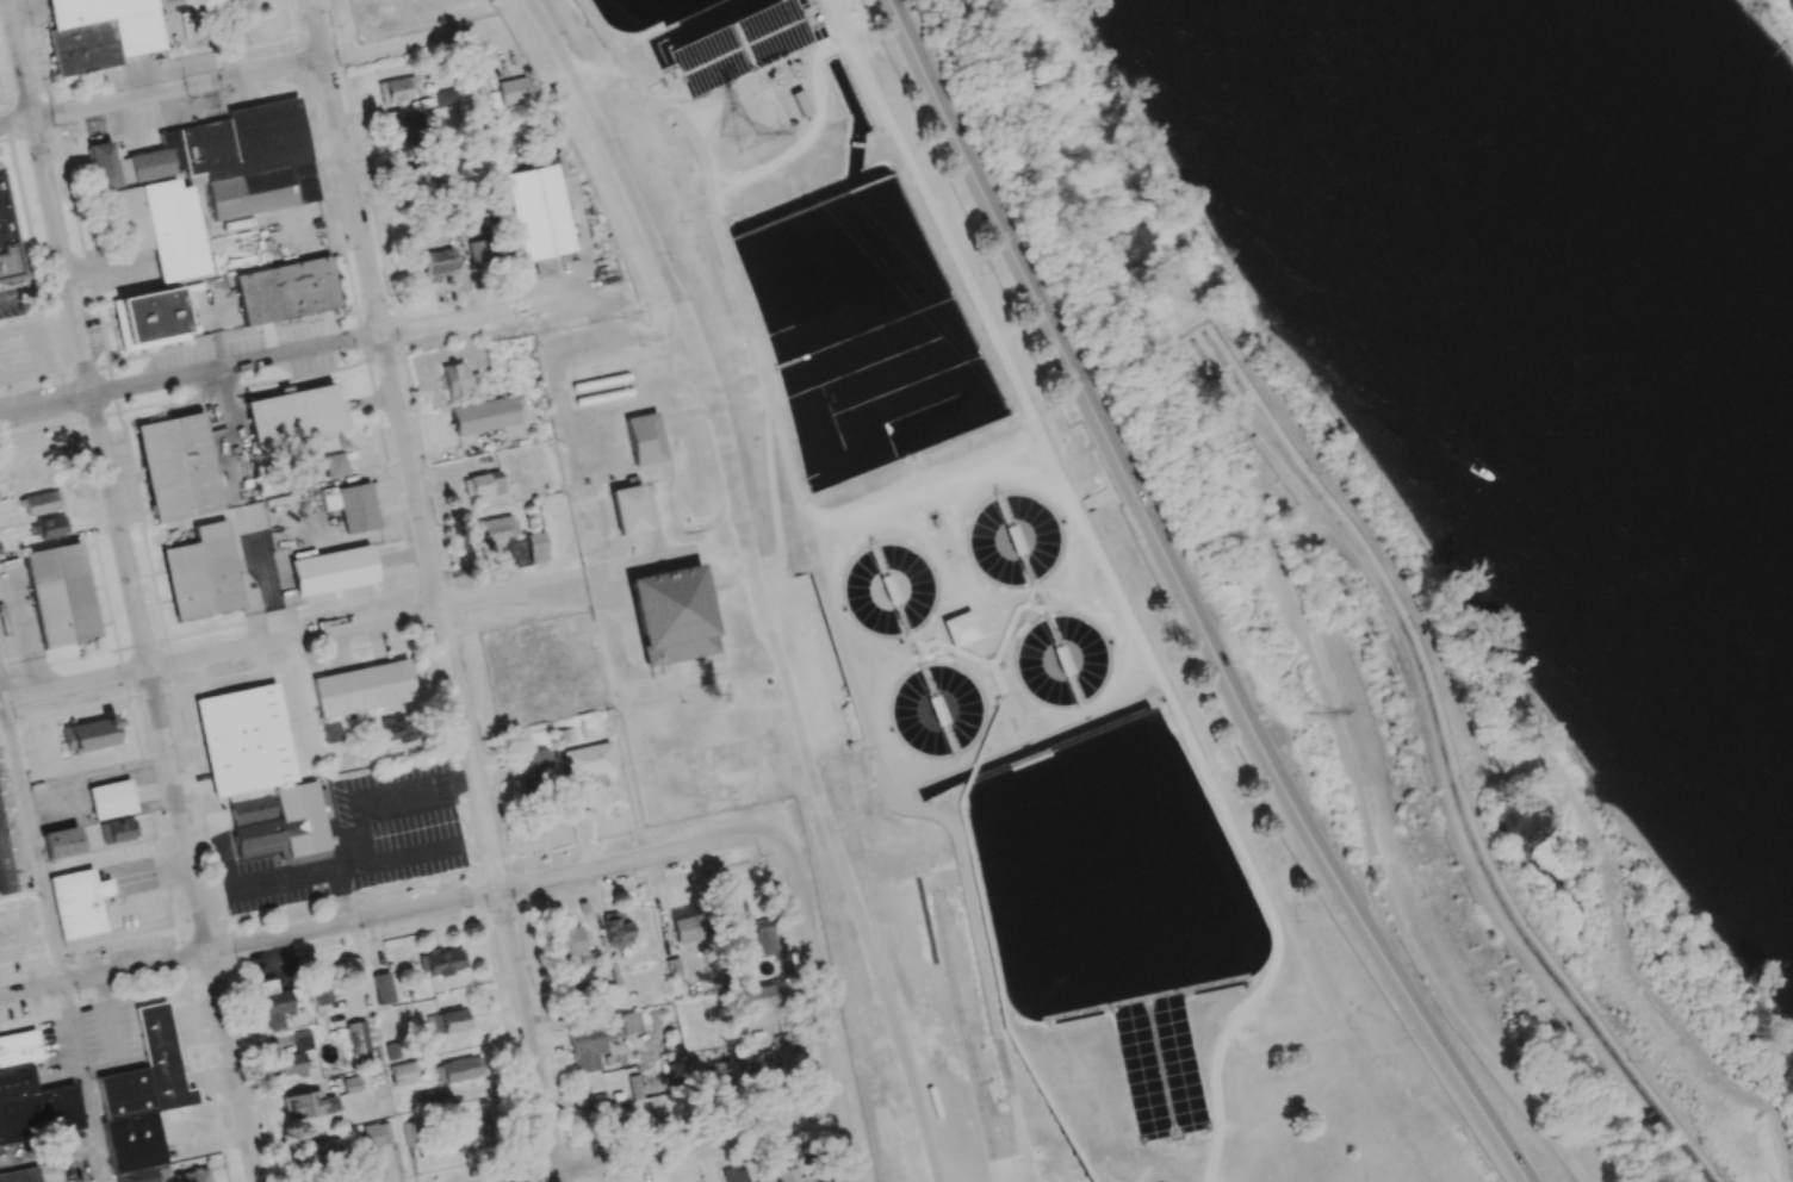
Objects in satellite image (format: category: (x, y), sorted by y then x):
building: (240, 5)
building: (92, 10)
road: (234, 75)
building: (395, 89)
building: (513, 91)
building: (445, 97)
building: (405, 126)
building: (267, 135)
power tower: (733, 135)
road: (731, 174)
building: (415, 179)
building: (539, 212)
building: (161, 228)
building: (7, 239)
building: (478, 254)
building: (435, 261)
building: (285, 291)
river: (1594, 316)
building: (153, 317)
road: (319, 347)
building: (455, 379)
railway: (1249, 403)
building: (291, 416)
building: (483, 416)
building: (644, 438)
building: (334, 465)
building: (180, 466)
building: (485, 484)
building: (42, 503)
building: (359, 504)
building: (628, 510)
building: (51, 527)
building: (495, 529)
building: (535, 547)
building: (0, 554)
building: (333, 568)
building: (201, 573)
road: (434, 590)
road: (132, 591)
road: (1286, 592)
building: (58, 593)
road: (1189, 602)
building: (671, 615)
road: (290, 640)
parking lot: (827, 662)
building: (360, 688)
road: (1, 691)
power tower: (1304, 711)
building: (330, 732)
building: (397, 732)
building: (93, 734)
building: (243, 740)
building: (732, 752)
building: (587, 760)
railway: (1445, 761)
building: (539, 764)
building: (738, 783)
building: (111, 800)
building: (279, 822)
building: (117, 830)
road: (32, 842)
building: (60, 842)
building: (422, 842)
building: (4, 869)
road: (328, 869)
road: (343, 895)
building: (77, 902)
road: (387, 914)
building: (616, 929)
building: (687, 929)
building: (763, 937)
building: (572, 945)
building: (443, 962)
building: (610, 973)
building: (318, 988)
building: (381, 988)
building: (577, 995)
building: (761, 996)
building: (277, 1003)
road: (820, 1012)
building: (452, 1021)
building: (597, 1040)
building: (359, 1041)
building: (781, 1043)
building: (27, 1046)
building: (12, 1050)
building: (2, 1056)
building: (291, 1057)
building: (764, 1065)
building: (461, 1069)
building: (403, 1074)
building: (724, 1074)
building: (15, 1081)
road: (82, 1083)
building: (350, 1084)
building: (634, 1088)
building: (142, 1095)
building: (37, 1100)
building: (427, 1101)
railway: (989, 1102)
railway: (980, 1103)
building: (308, 1105)
building: (608, 1112)
building: (39, 1122)
building: (410, 1132)
building: (376, 1134)
building: (474, 1138)
railway: (1006, 1140)
road: (678, 1149)
building: (319, 1155)
building: (786, 1171)
building: (733, 1174)
building: (20, 1175)
building: (165, 1176)

